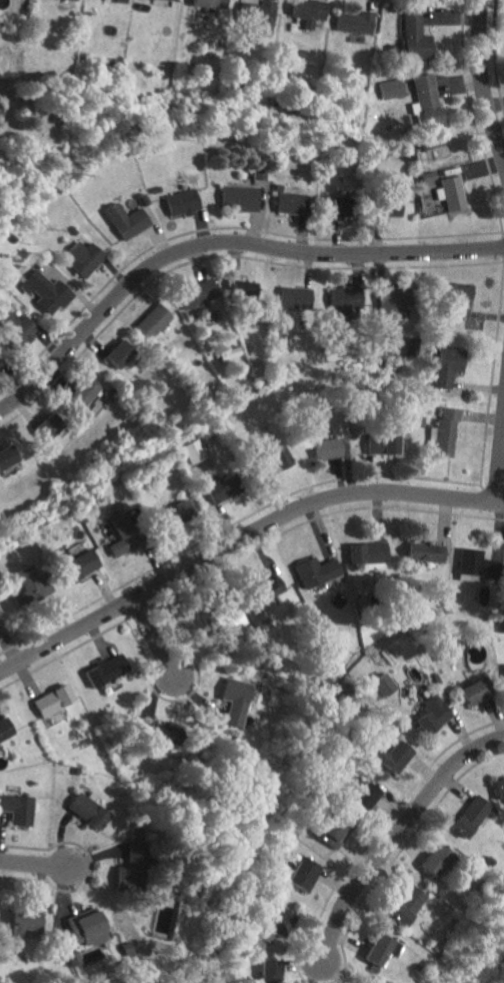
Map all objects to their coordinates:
building: (171, 0)
building: (120, 1)
building: (209, 3)
building: (306, 11)
building: (262, 18)
building: (353, 21)
building: (414, 36)
road: (493, 54)
road: (481, 83)
building: (425, 96)
road: (472, 119)
building: (448, 185)
building: (240, 197)
building: (182, 202)
building: (293, 203)
building: (344, 206)
building: (390, 207)
building: (127, 220)
road: (221, 227)
road: (220, 243)
building: (84, 256)
road: (219, 256)
building: (45, 291)
building: (196, 293)
building: (460, 296)
building: (294, 297)
building: (394, 300)
building: (345, 301)
building: (153, 320)
building: (19, 332)
building: (120, 353)
building: (0, 365)
building: (446, 366)
road: (491, 370)
building: (87, 391)
building: (51, 426)
building: (443, 432)
building: (382, 444)
building: (326, 448)
road: (498, 454)
building: (195, 456)
building: (278, 458)
building: (8, 459)
building: (223, 487)
building: (178, 509)
road: (316, 516)
road: (230, 523)
building: (124, 535)
road: (240, 539)
building: (425, 550)
building: (368, 555)
building: (80, 561)
building: (475, 565)
building: (317, 573)
building: (28, 578)
building: (274, 597)
building: (0, 614)
road: (154, 641)
road: (62, 653)
building: (106, 669)
building: (377, 688)
building: (476, 691)
road: (182, 698)
building: (53, 700)
building: (234, 700)
building: (433, 714)
building: (4, 728)
building: (166, 734)
building: (396, 755)
building: (499, 788)
building: (366, 796)
building: (17, 809)
building: (87, 810)
building: (471, 816)
building: (335, 830)
road: (373, 835)
road: (395, 835)
road: (396, 855)
building: (436, 860)
building: (132, 862)
road: (33, 866)
road: (89, 866)
building: (304, 868)
building: (407, 905)
building: (27, 921)
building: (281, 922)
building: (85, 925)
building: (156, 926)
building: (381, 950)
building: (270, 971)
road: (316, 973)

